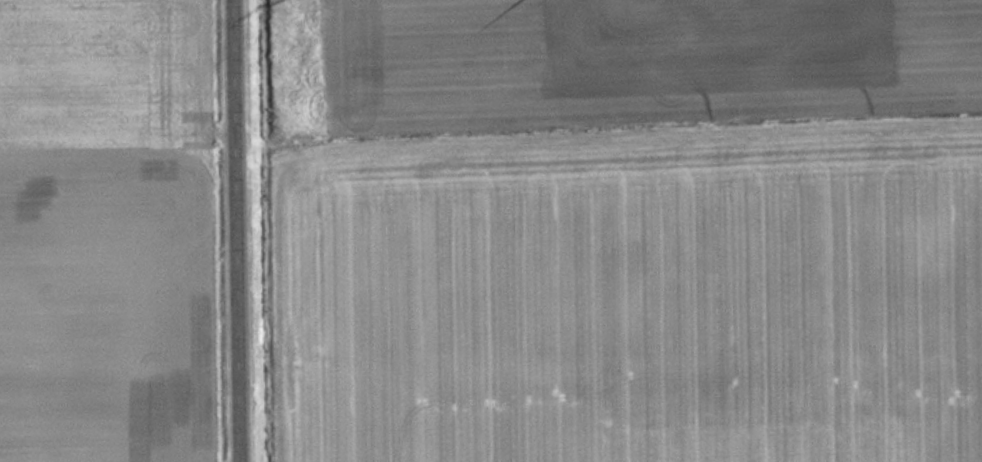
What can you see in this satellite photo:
road: (247, 231)

